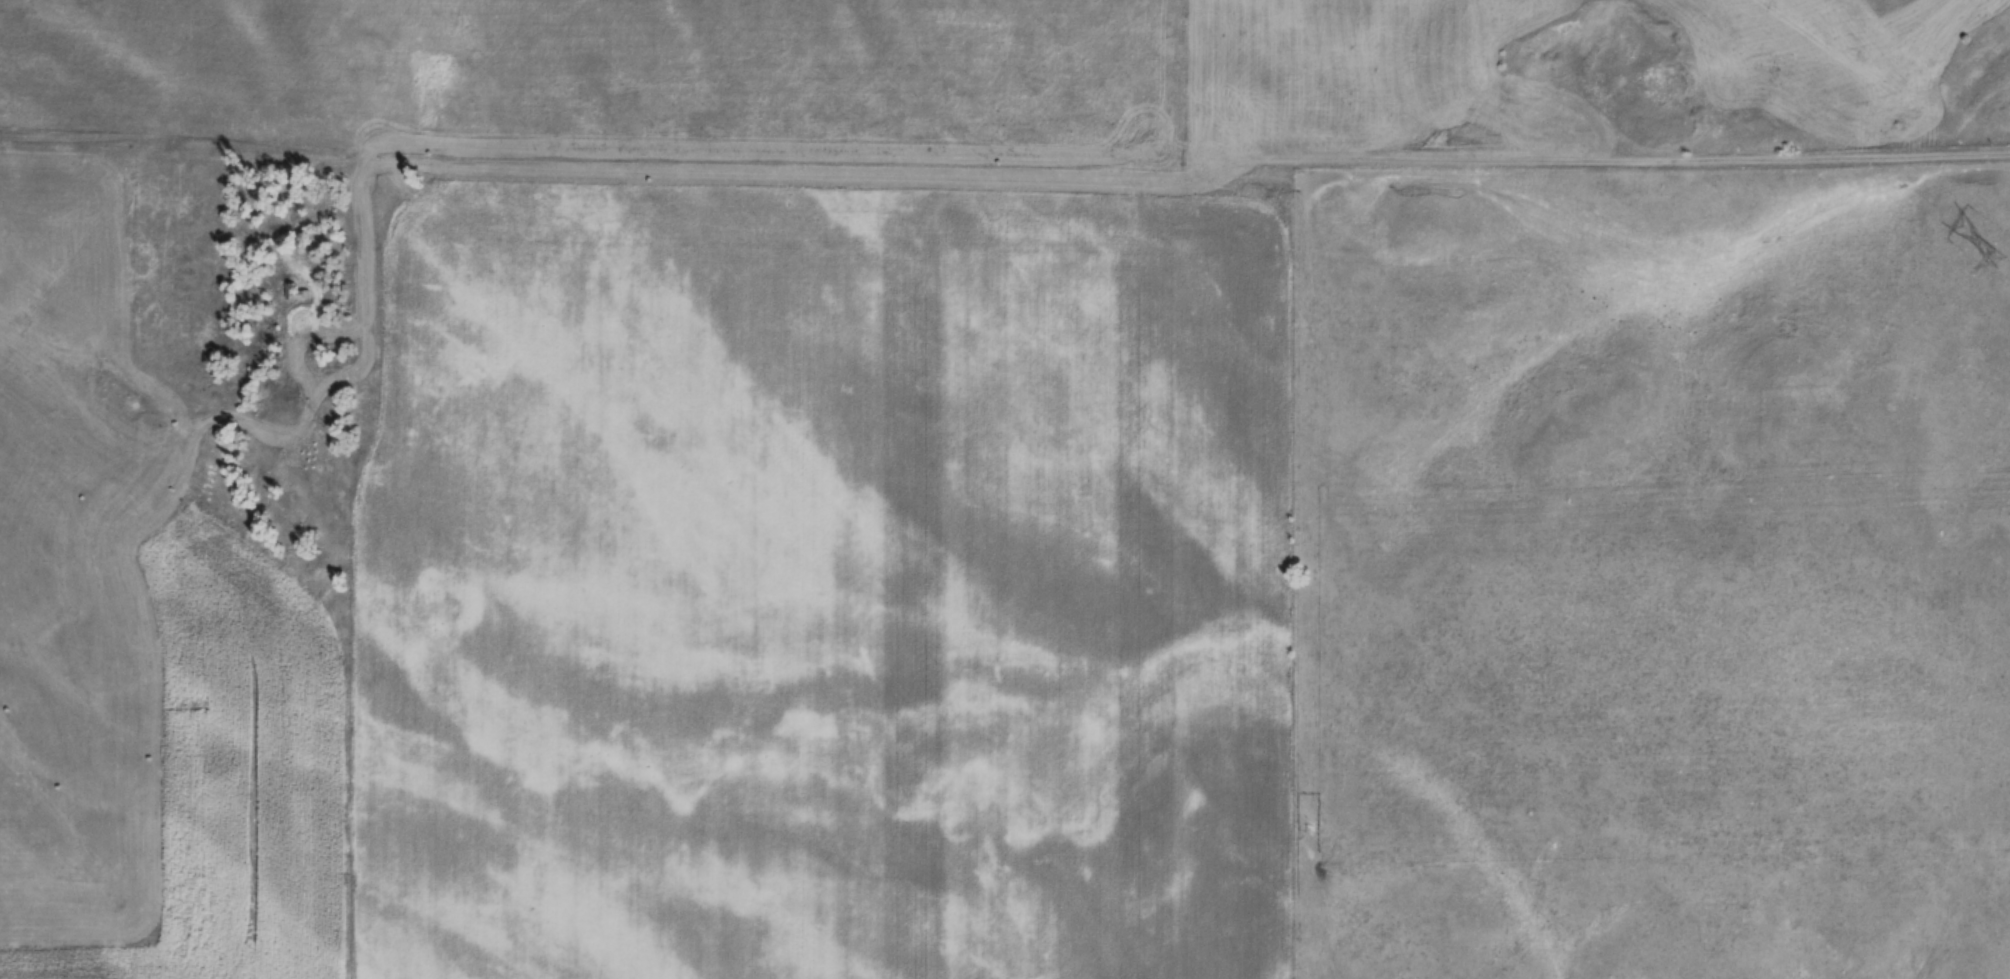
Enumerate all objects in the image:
power tower: (1994, 276)

